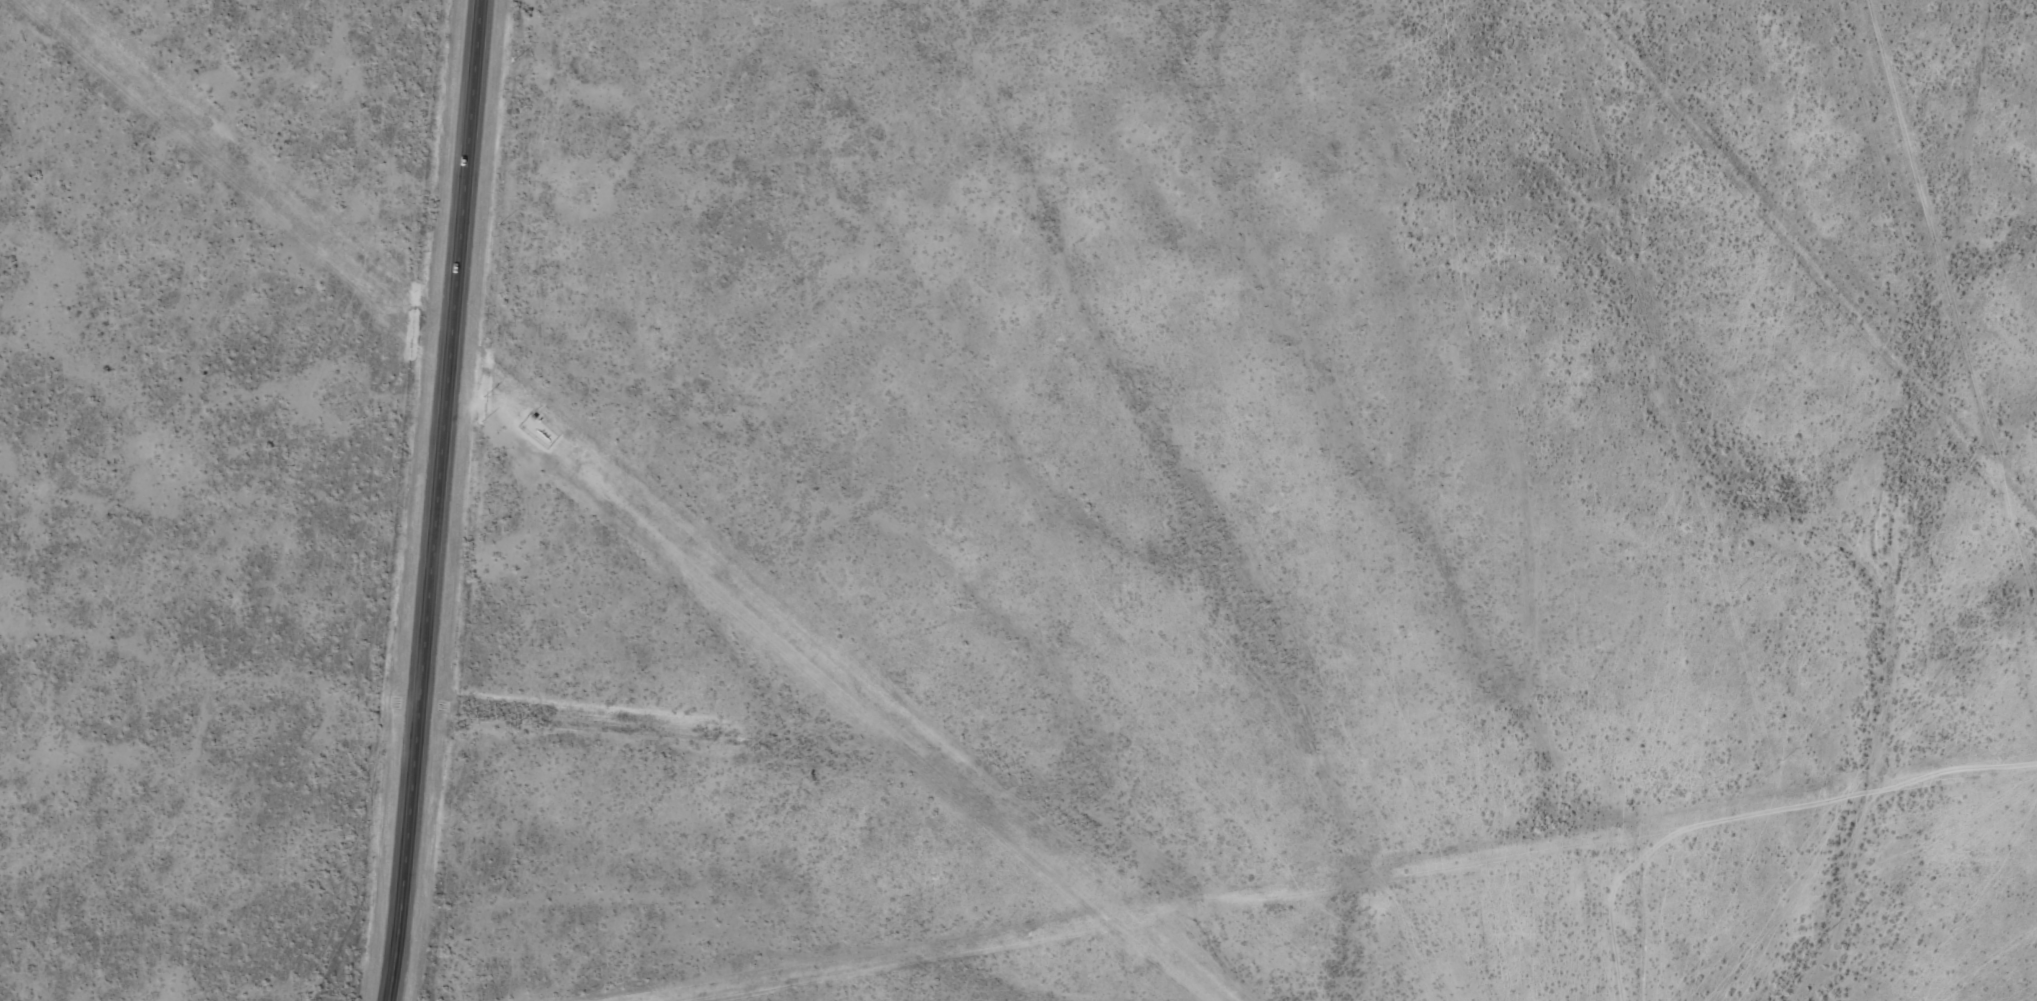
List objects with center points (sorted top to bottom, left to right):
road: (438, 500)

